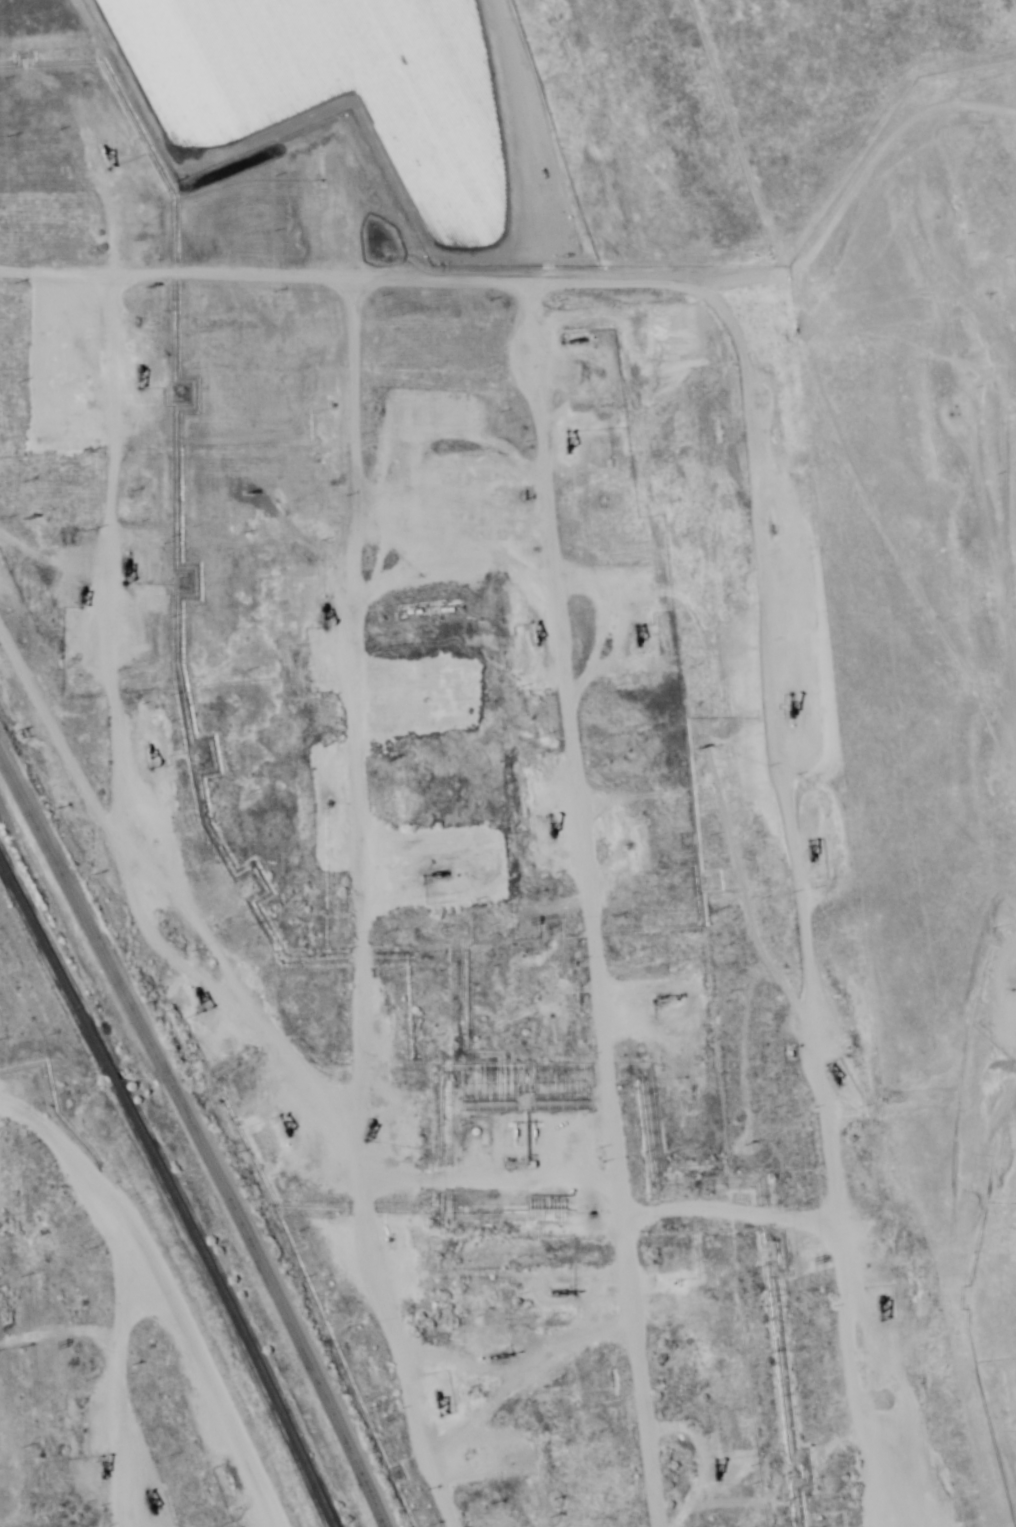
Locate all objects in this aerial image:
crop: (329, 89)
road: (231, 296)
road: (53, 459)
road: (993, 585)
road: (304, 700)
road: (744, 821)
road: (555, 912)
road: (251, 1051)
road: (194, 1143)
railway: (170, 1191)
road: (698, 1230)
road: (522, 1360)
road: (90, 1366)
road: (85, 1445)

